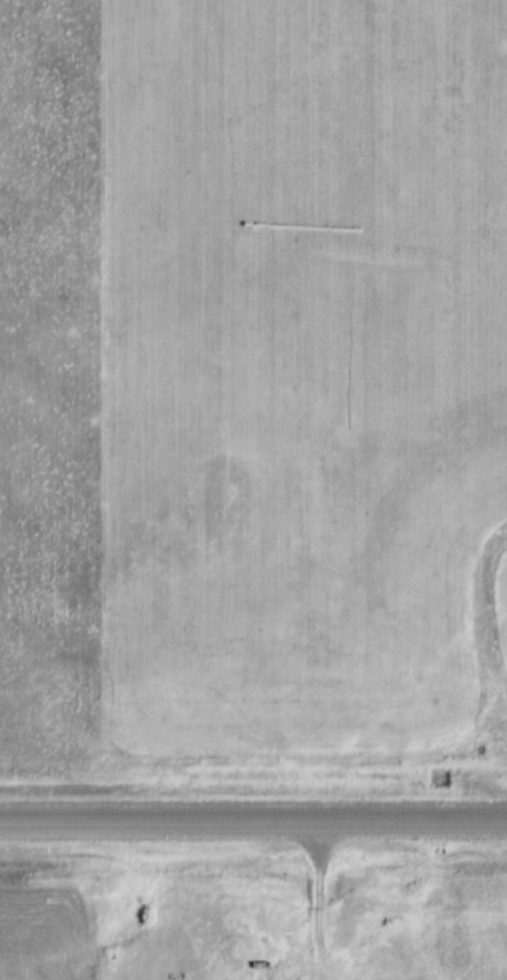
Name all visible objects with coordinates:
road: (253, 821)
road: (319, 900)

